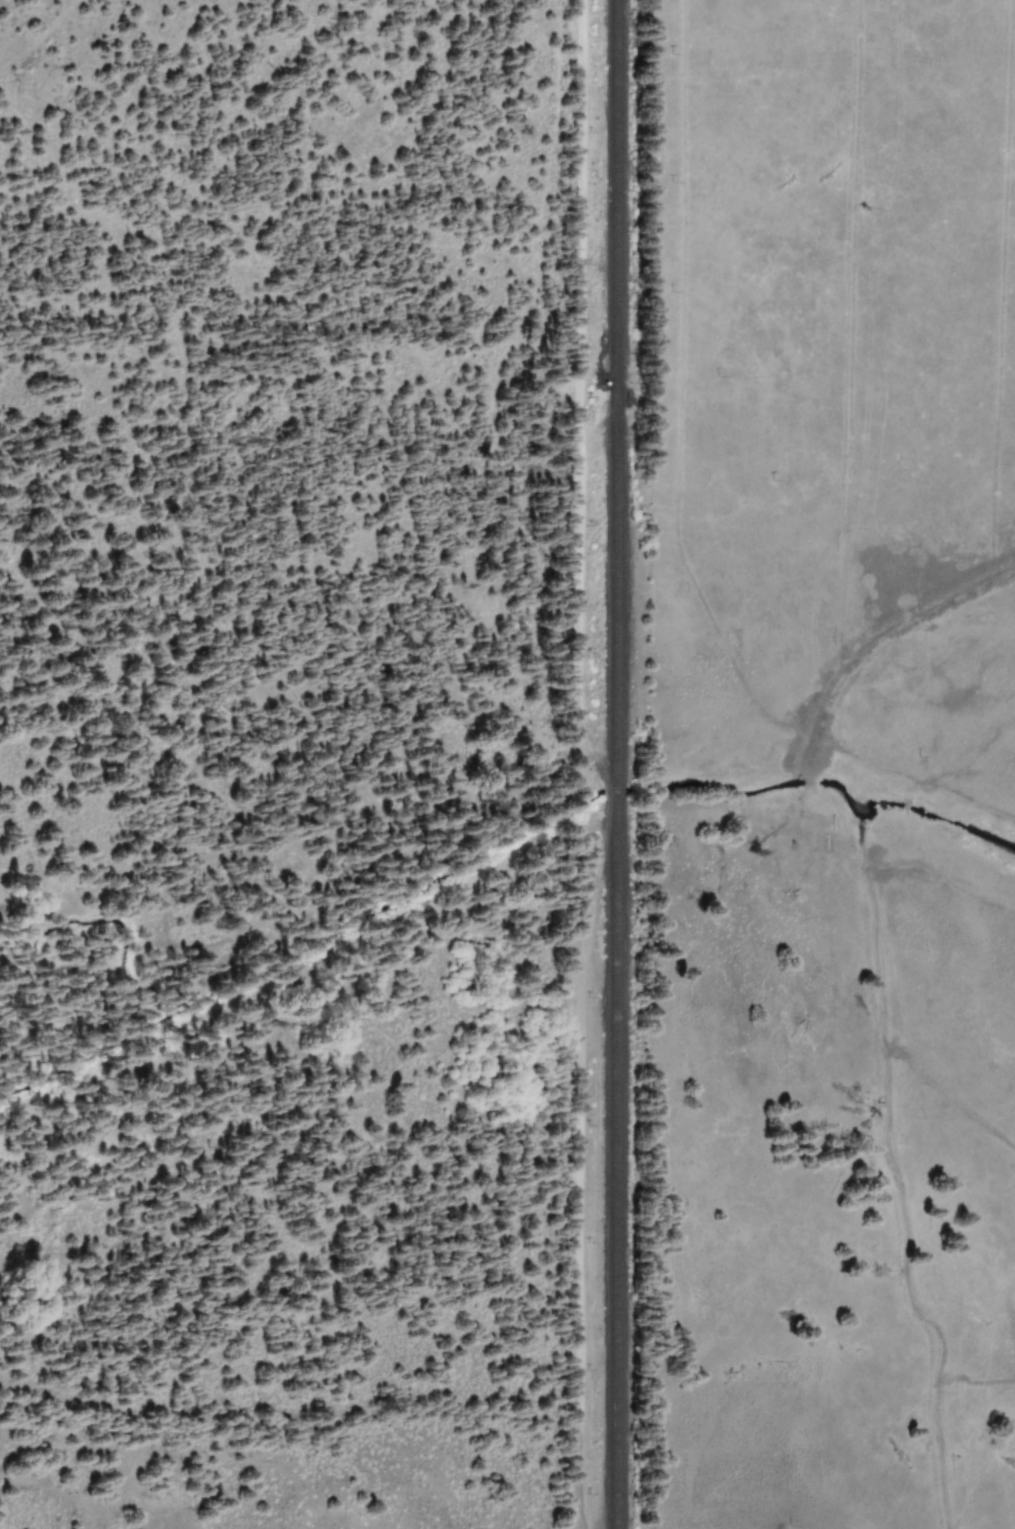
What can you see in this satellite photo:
railway: (613, 764)

